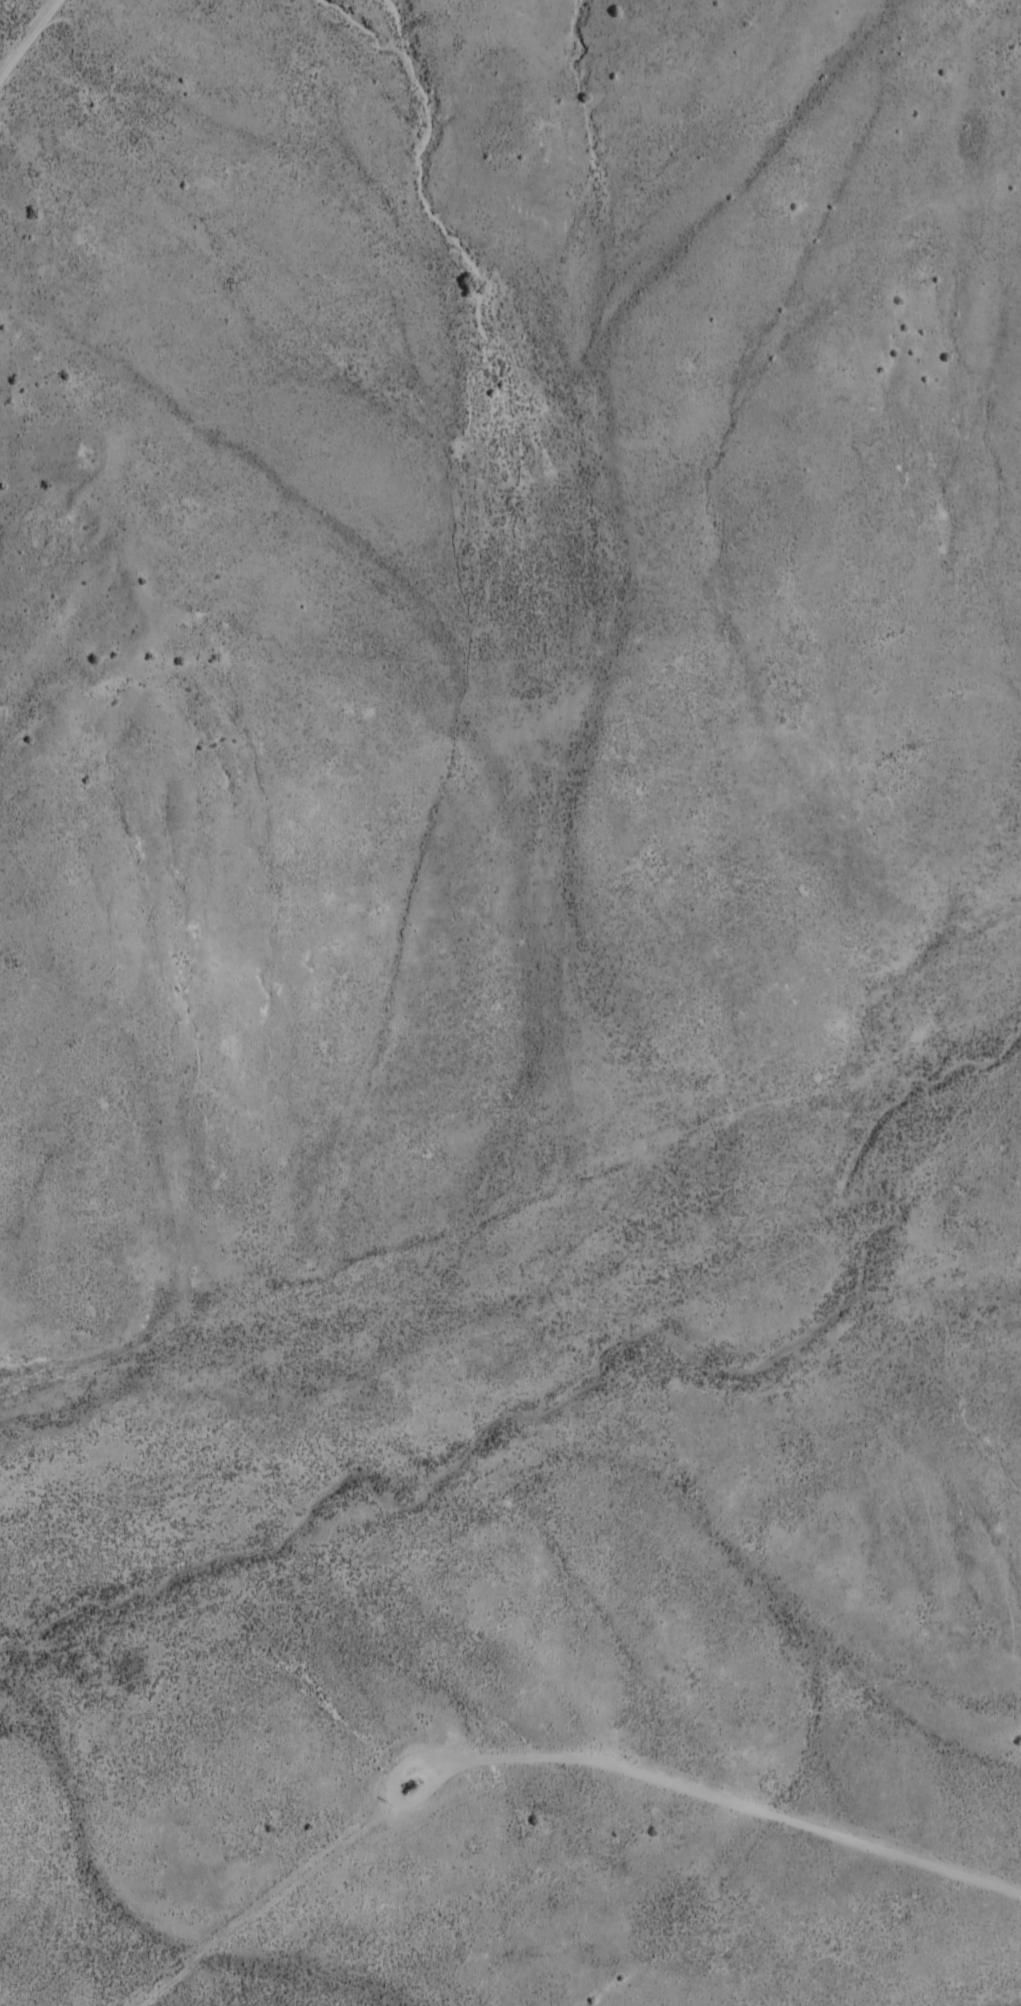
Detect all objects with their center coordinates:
river: (594, 1389)

